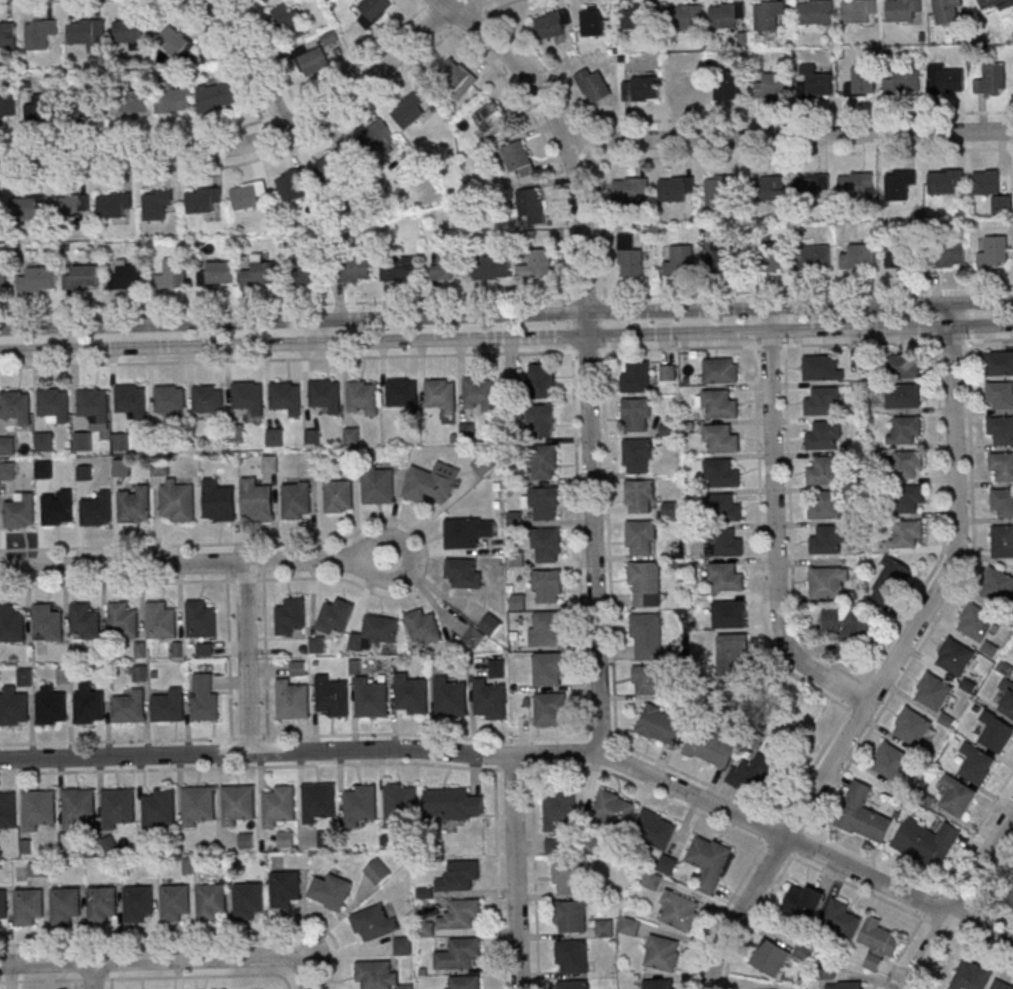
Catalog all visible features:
building: (274, 0)
building: (990, 3)
building: (903, 9)
building: (858, 10)
building: (947, 10)
building: (815, 12)
building: (726, 15)
building: (639, 16)
building: (685, 16)
building: (768, 16)
building: (595, 20)
building: (552, 23)
building: (289, 24)
building: (130, 31)
building: (39, 34)
building: (87, 34)
building: (7, 36)
building: (175, 42)
road: (254, 61)
building: (314, 62)
building: (992, 78)
building: (456, 79)
building: (863, 80)
building: (902, 80)
building: (949, 80)
building: (816, 82)
building: (729, 84)
building: (593, 85)
building: (772, 86)
building: (641, 87)
building: (686, 87)
building: (215, 97)
building: (172, 98)
building: (130, 101)
building: (7, 105)
building: (90, 106)
building: (44, 107)
building: (409, 110)
building: (491, 116)
road: (790, 136)
road: (256, 137)
road: (565, 140)
building: (353, 155)
building: (517, 159)
building: (944, 181)
building: (292, 184)
building: (854, 185)
building: (902, 185)
building: (811, 188)
building: (675, 189)
building: (769, 189)
building: (992, 189)
building: (719, 190)
building: (629, 191)
building: (248, 195)
building: (202, 200)
building: (0, 205)
building: (71, 206)
building: (113, 206)
building: (156, 206)
building: (531, 206)
building: (27, 208)
building: (994, 251)
building: (948, 254)
building: (899, 255)
building: (859, 256)
building: (720, 257)
building: (772, 257)
building: (816, 257)
building: (631, 259)
building: (679, 260)
building: (447, 266)
building: (536, 266)
building: (398, 268)
building: (490, 268)
building: (353, 269)
building: (307, 270)
building: (175, 272)
building: (215, 273)
building: (260, 273)
building: (130, 276)
building: (82, 277)
building: (3, 278)
building: (37, 280)
road: (506, 297)
road: (506, 314)
road: (320, 328)
road: (506, 335)
road: (71, 337)
road: (329, 357)
building: (999, 362)
building: (903, 365)
building: (821, 367)
building: (721, 370)
building: (668, 372)
building: (636, 376)
building: (542, 380)
building: (478, 392)
building: (402, 393)
building: (325, 394)
building: (440, 394)
building: (1000, 394)
building: (903, 395)
building: (248, 396)
building: (362, 396)
building: (286, 397)
building: (131, 399)
building: (170, 400)
building: (209, 400)
building: (821, 400)
building: (54, 403)
building: (93, 403)
building: (719, 403)
building: (15, 406)
building: (636, 415)
building: (541, 421)
building: (1001, 429)
building: (905, 430)
building: (823, 435)
building: (351, 436)
building: (720, 438)
building: (83, 441)
building: (120, 442)
building: (638, 456)
building: (543, 462)
building: (908, 464)
building: (1002, 466)
building: (121, 467)
building: (160, 467)
building: (7, 470)
building: (824, 470)
building: (722, 472)
building: (432, 483)
building: (378, 486)
building: (338, 497)
building: (640, 497)
building: (910, 499)
building: (257, 500)
building: (296, 500)
building: (177, 501)
building: (219, 501)
building: (1002, 503)
building: (135, 504)
building: (544, 504)
building: (826, 504)
building: (58, 508)
building: (722, 508)
building: (98, 510)
building: (21, 511)
road: (776, 528)
building: (466, 532)
building: (907, 534)
road: (596, 537)
building: (640, 538)
building: (827, 538)
building: (724, 542)
building: (1002, 542)
building: (547, 546)
road: (195, 562)
building: (464, 572)
building: (725, 577)
road: (258, 579)
road: (229, 580)
road: (244, 580)
building: (889, 580)
road: (113, 583)
building: (829, 583)
building: (645, 584)
building: (548, 586)
building: (998, 586)
building: (729, 614)
building: (291, 615)
building: (336, 615)
building: (123, 619)
building: (160, 619)
building: (200, 619)
building: (85, 620)
building: (47, 621)
building: (11, 622)
building: (976, 623)
building: (423, 627)
building: (546, 628)
building: (483, 630)
building: (850, 631)
building: (375, 632)
building: (646, 635)
building: (317, 644)
building: (991, 650)
building: (734, 655)
road: (246, 656)
building: (955, 656)
road: (264, 658)
road: (228, 659)
road: (893, 661)
building: (478, 665)
building: (298, 667)
building: (549, 668)
building: (25, 677)
building: (649, 679)
building: (933, 691)
building: (410, 694)
building: (331, 696)
building: (204, 697)
building: (450, 697)
building: (371, 698)
building: (292, 699)
building: (1007, 699)
building: (490, 700)
building: (89, 704)
building: (13, 706)
building: (51, 706)
building: (168, 706)
building: (129, 707)
building: (550, 708)
building: (660, 724)
building: (912, 726)
building: (996, 732)
road: (248, 737)
road: (263, 737)
road: (233, 738)
road: (115, 741)
building: (709, 749)
road: (528, 755)
building: (890, 761)
building: (977, 763)
road: (247, 767)
road: (513, 769)
building: (757, 774)
building: (957, 795)
building: (317, 801)
building: (237, 804)
building: (360, 804)
building: (399, 804)
building: (452, 804)
building: (196, 805)
building: (278, 805)
building: (77, 807)
building: (117, 807)
building: (38, 808)
building: (559, 808)
building: (157, 809)
building: (613, 809)
building: (7, 810)
building: (863, 814)
building: (656, 828)
building: (325, 838)
building: (286, 839)
building: (927, 842)
building: (554, 846)
building: (709, 861)
building: (667, 863)
building: (378, 870)
road: (514, 872)
building: (458, 875)
road: (497, 875)
road: (533, 876)
building: (568, 876)
building: (652, 880)
building: (283, 888)
building: (330, 891)
road: (958, 898)
building: (246, 899)
building: (209, 901)
building: (173, 902)
building: (804, 902)
building: (101, 903)
building: (136, 903)
building: (1012, 903)
building: (2, 904)
building: (27, 905)
building: (63, 905)
building: (680, 910)
building: (462, 913)
building: (570, 917)
building: (842, 918)
building: (374, 921)
road: (135, 941)
building: (877, 942)
building: (403, 945)
road: (306, 953)
building: (461, 953)
building: (663, 953)
building: (572, 957)
building: (771, 957)
road: (151, 960)
road: (92, 975)
road: (305, 975)
road: (202, 976)
building: (378, 976)
building: (972, 976)
road: (91, 979)
road: (36, 981)
building: (464, 982)
building: (660, 983)
building: (1002, 983)
building: (574, 985)
building: (845, 985)
road: (288, 988)

